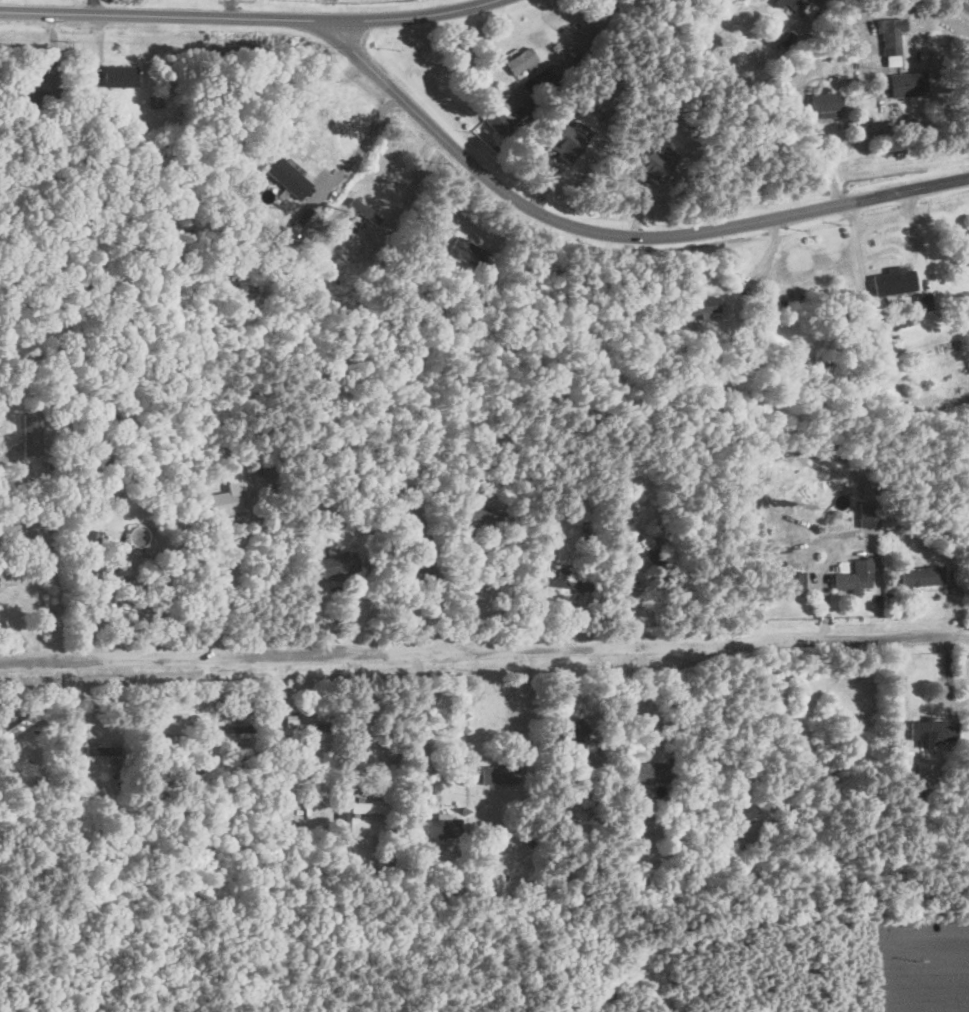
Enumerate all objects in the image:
building: (794, 5)
road: (93, 6)
road: (230, 8)
road: (247, 17)
building: (889, 37)
building: (520, 61)
building: (118, 75)
building: (907, 84)
building: (825, 101)
building: (495, 121)
road: (374, 141)
road: (415, 178)
building: (362, 211)
road: (615, 229)
building: (466, 252)
building: (895, 291)
building: (701, 303)
building: (968, 365)
building: (30, 434)
building: (500, 486)
building: (222, 503)
building: (475, 515)
road: (19, 547)
building: (649, 551)
building: (121, 560)
building: (408, 565)
building: (336, 566)
building: (920, 576)
building: (565, 582)
building: (788, 582)
building: (851, 582)
road: (227, 586)
road: (469, 588)
road: (484, 647)
road: (647, 691)
road: (526, 696)
road: (207, 703)
road: (357, 715)
building: (304, 720)
road: (421, 720)
building: (164, 725)
building: (234, 730)
building: (931, 731)
building: (571, 735)
building: (100, 751)
building: (646, 772)
building: (497, 774)
building: (361, 811)
building: (737, 816)
building: (443, 827)
parking lot: (922, 966)
road: (932, 1006)

